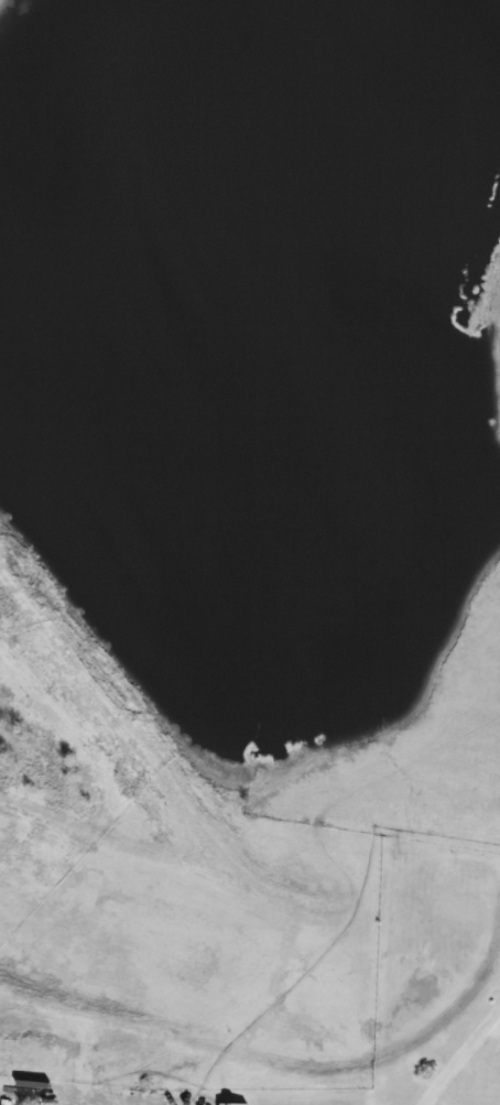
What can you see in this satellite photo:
road: (459, 1052)
building: (233, 1104)

